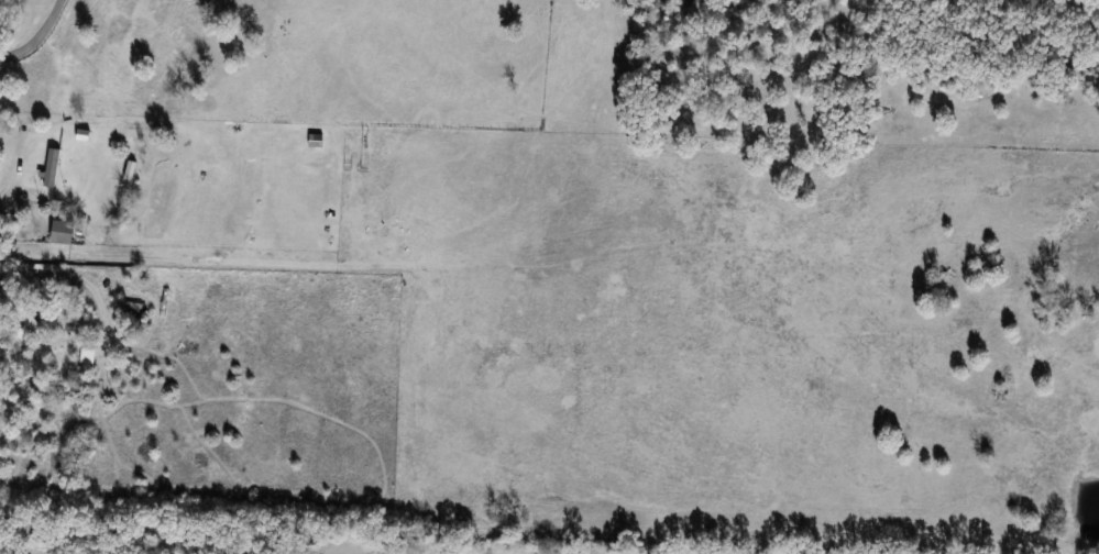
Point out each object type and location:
road: (41, 37)
building: (50, 168)
road: (14, 214)
building: (59, 233)
building: (130, 308)
building: (29, 323)

